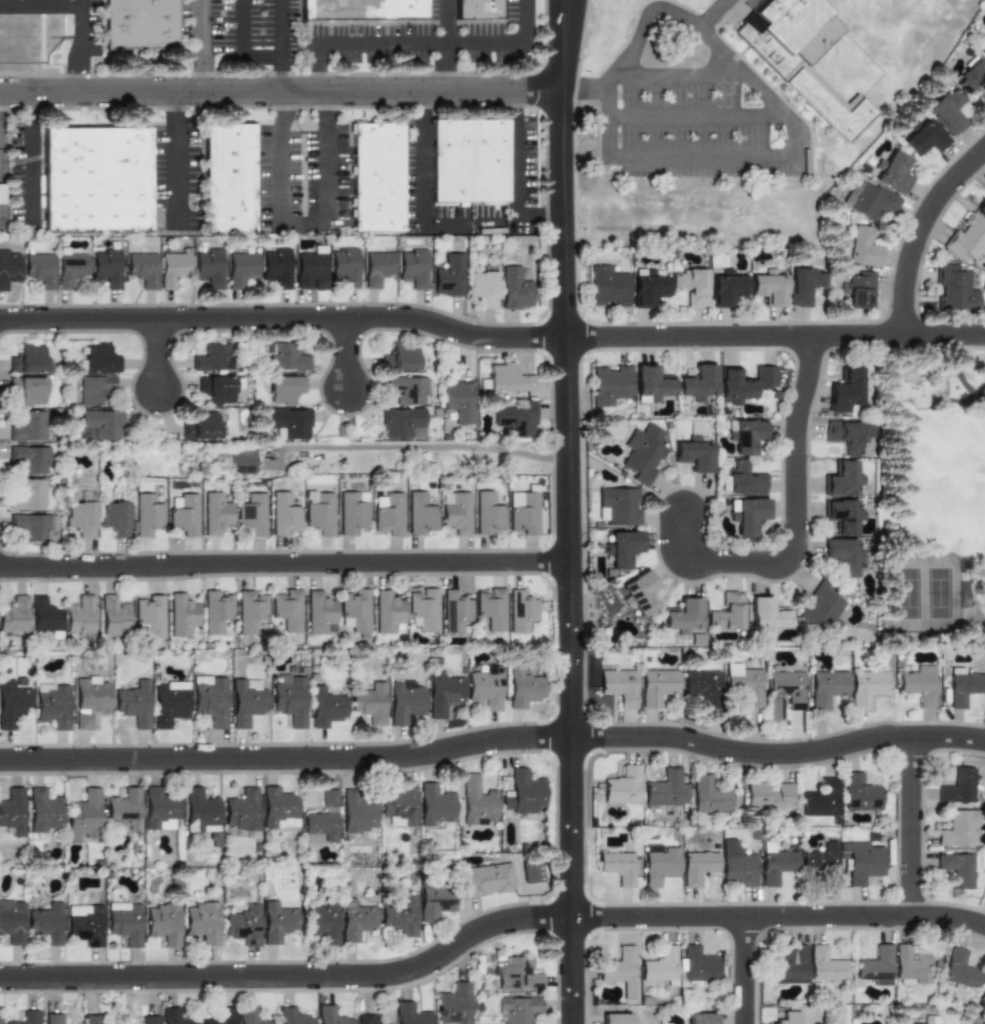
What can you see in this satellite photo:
road: (41, 7)
road: (682, 7)
building: (366, 10)
building: (481, 10)
road: (712, 14)
building: (140, 23)
road: (628, 39)
road: (419, 43)
road: (239, 44)
road: (199, 45)
road: (445, 45)
road: (83, 46)
building: (982, 48)
building: (805, 57)
road: (304, 73)
road: (637, 75)
building: (973, 77)
road: (583, 88)
road: (279, 92)
road: (778, 108)
building: (949, 111)
road: (697, 116)
parking lot: (698, 123)
building: (925, 137)
road: (24, 156)
road: (419, 156)
building: (471, 158)
road: (172, 159)
building: (893, 171)
building: (94, 175)
building: (230, 175)
building: (379, 175)
road: (517, 178)
building: (983, 193)
building: (1, 194)
building: (870, 199)
road: (275, 200)
road: (545, 217)
road: (919, 230)
building: (969, 238)
building: (860, 246)
building: (208, 266)
building: (276, 266)
building: (9, 267)
building: (107, 267)
building: (174, 267)
building: (344, 267)
building: (413, 267)
building: (377, 268)
building: (40, 269)
building: (142, 269)
building: (240, 269)
building: (71, 270)
building: (311, 270)
building: (449, 276)
building: (803, 285)
building: (607, 286)
building: (690, 286)
building: (767, 287)
building: (482, 288)
building: (514, 288)
building: (725, 288)
building: (954, 288)
building: (646, 289)
building: (860, 289)
road: (282, 317)
road: (773, 336)
road: (346, 352)
road: (157, 354)
building: (213, 357)
building: (289, 357)
building: (402, 357)
building: (29, 358)
building: (98, 358)
building: (505, 379)
building: (741, 382)
building: (696, 383)
building: (608, 384)
building: (649, 385)
building: (28, 389)
building: (93, 389)
building: (217, 389)
building: (284, 389)
building: (410, 389)
building: (843, 389)
building: (458, 401)
building: (515, 418)
building: (289, 422)
building: (402, 423)
building: (100, 424)
building: (201, 425)
building: (29, 426)
building: (845, 433)
building: (743, 434)
road: (424, 447)
building: (692, 454)
building: (640, 456)
building: (31, 458)
building: (239, 461)
building: (743, 478)
building: (841, 478)
building: (30, 494)
park: (932, 497)
building: (617, 505)
road: (565, 511)
building: (349, 512)
building: (146, 513)
building: (182, 513)
building: (214, 513)
building: (319, 513)
building: (419, 513)
building: (455, 513)
building: (487, 513)
building: (522, 513)
building: (251, 514)
building: (283, 514)
building: (386, 514)
building: (745, 514)
building: (840, 514)
building: (81, 517)
building: (114, 517)
road: (794, 519)
building: (31, 526)
building: (621, 547)
building: (841, 555)
road: (283, 562)
building: (638, 592)
building: (488, 607)
building: (820, 607)
building: (285, 608)
building: (421, 608)
building: (216, 609)
building: (250, 609)
building: (353, 610)
building: (453, 610)
building: (385, 611)
building: (519, 611)
building: (728, 611)
building: (318, 612)
building: (14, 613)
building: (44, 613)
building: (80, 614)
building: (113, 614)
building: (149, 614)
building: (181, 614)
building: (766, 614)
building: (682, 615)
building: (743, 683)
building: (916, 684)
building: (702, 685)
building: (962, 685)
building: (619, 686)
building: (657, 686)
building: (785, 686)
building: (485, 687)
building: (524, 687)
building: (865, 687)
building: (824, 688)
building: (442, 694)
building: (89, 698)
building: (288, 698)
building: (209, 699)
building: (404, 699)
building: (246, 701)
building: (12, 702)
building: (54, 704)
building: (169, 704)
building: (369, 704)
building: (133, 705)
building: (324, 708)
road: (494, 741)
building: (622, 784)
building: (955, 786)
building: (665, 790)
building: (858, 792)
building: (524, 793)
building: (708, 794)
building: (766, 795)
building: (818, 799)
building: (476, 801)
building: (399, 805)
building: (435, 805)
building: (125, 808)
building: (278, 808)
building: (160, 809)
building: (12, 810)
building: (201, 810)
building: (241, 810)
building: (44, 811)
building: (357, 814)
building: (83, 816)
building: (322, 818)
road: (909, 823)
building: (957, 828)
building: (861, 859)
building: (660, 862)
building: (821, 862)
building: (774, 863)
building: (737, 864)
building: (698, 865)
building: (617, 867)
building: (958, 867)
building: (531, 871)
building: (486, 879)
building: (434, 900)
building: (400, 916)
building: (355, 920)
building: (12, 921)
building: (124, 921)
building: (202, 921)
building: (321, 921)
building: (86, 922)
building: (277, 922)
building: (47, 923)
building: (163, 923)
building: (244, 924)
road: (487, 927)
building: (791, 963)
building: (826, 964)
building: (876, 965)
building: (698, 966)
building: (660, 967)
building: (912, 967)
building: (961, 969)
building: (623, 970)
road: (743, 970)
building: (517, 974)
building: (982, 997)
building: (453, 1003)
building: (517, 1009)
building: (411, 1014)
building: (293, 1015)
building: (332, 1015)
building: (175, 1016)
building: (253, 1016)
building: (27, 1017)
building: (221, 1017)
building: (791, 1017)
building: (0, 1018)
building: (56, 1018)
building: (615, 1018)
building: (700, 1018)
building: (89, 1019)
building: (366, 1019)
building: (931, 1019)
building: (152, 1020)
building: (900, 1023)

